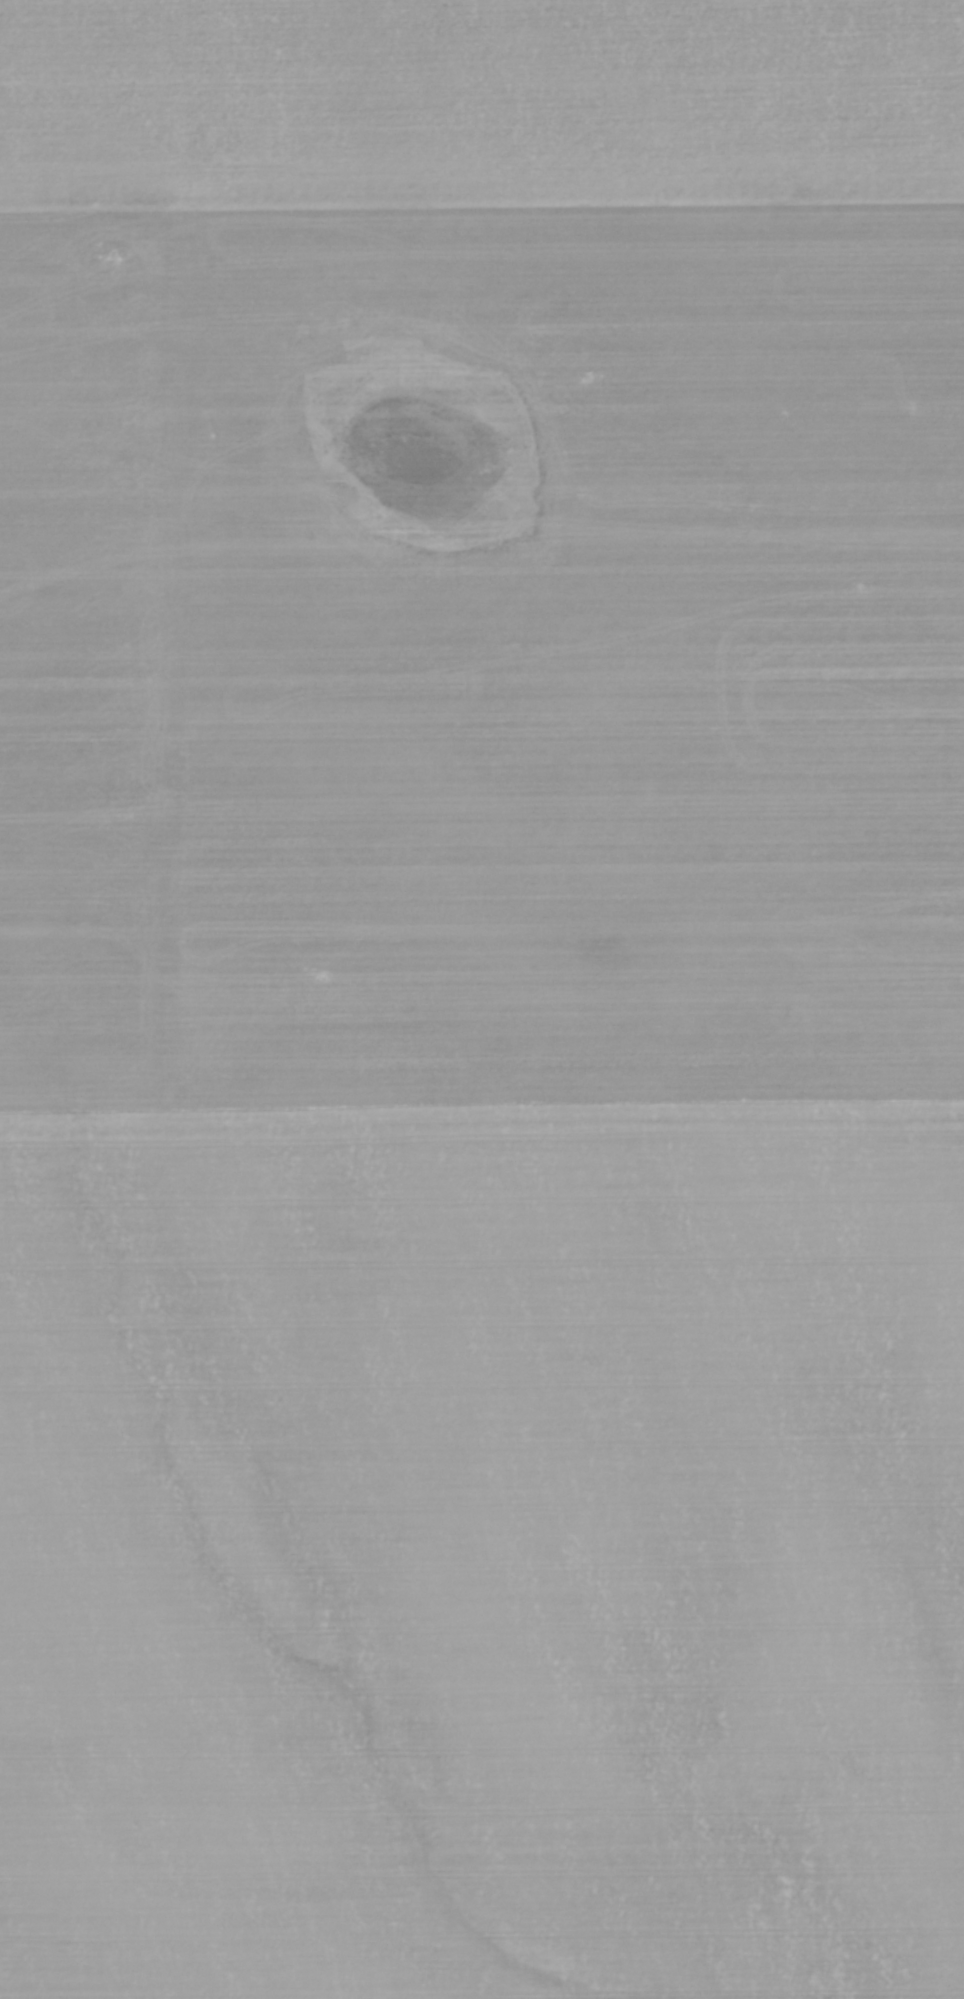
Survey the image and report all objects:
crop: (482, 999)

